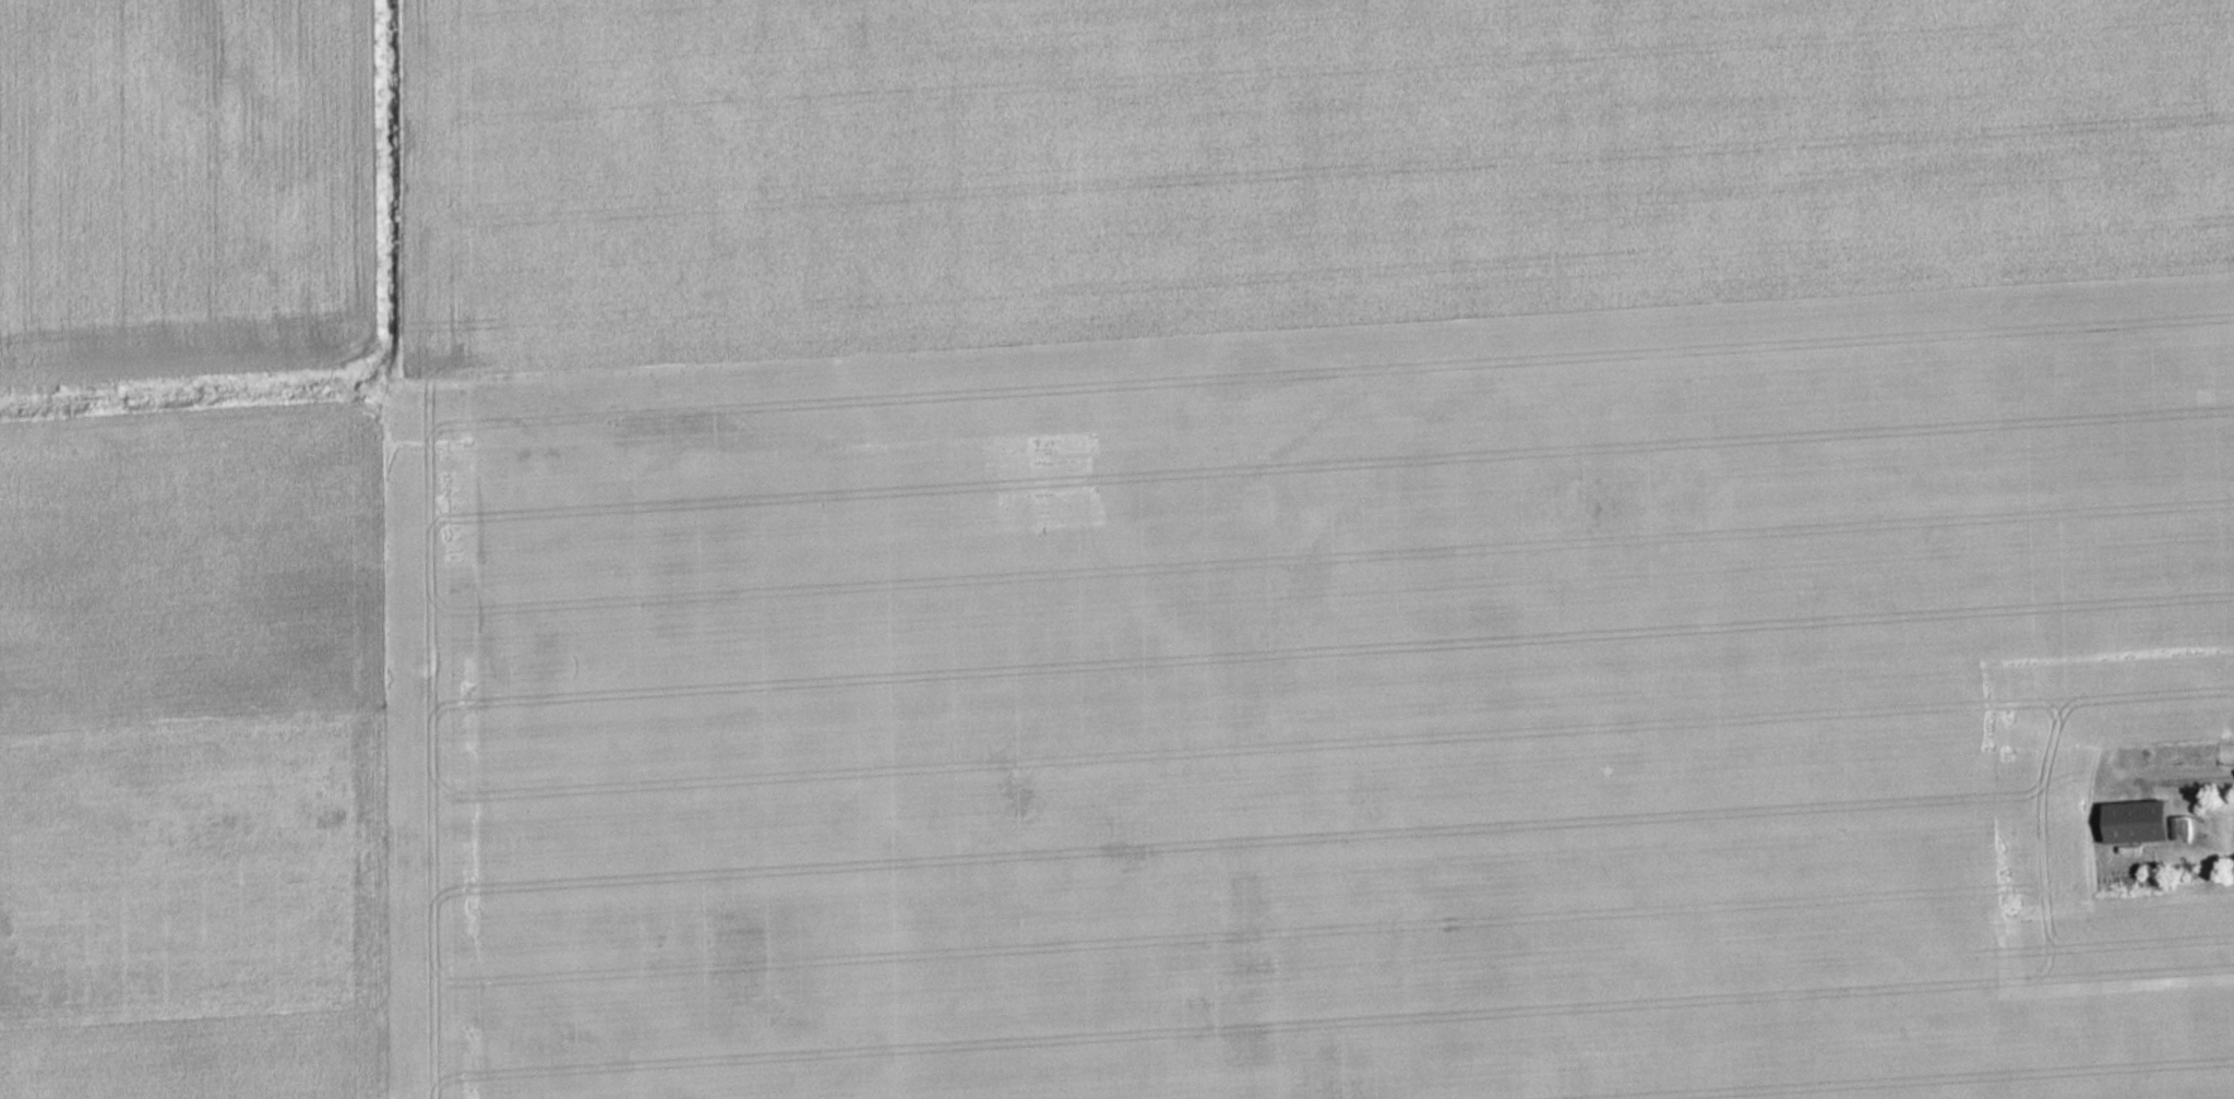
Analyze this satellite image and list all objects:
building: (2149, 824)

